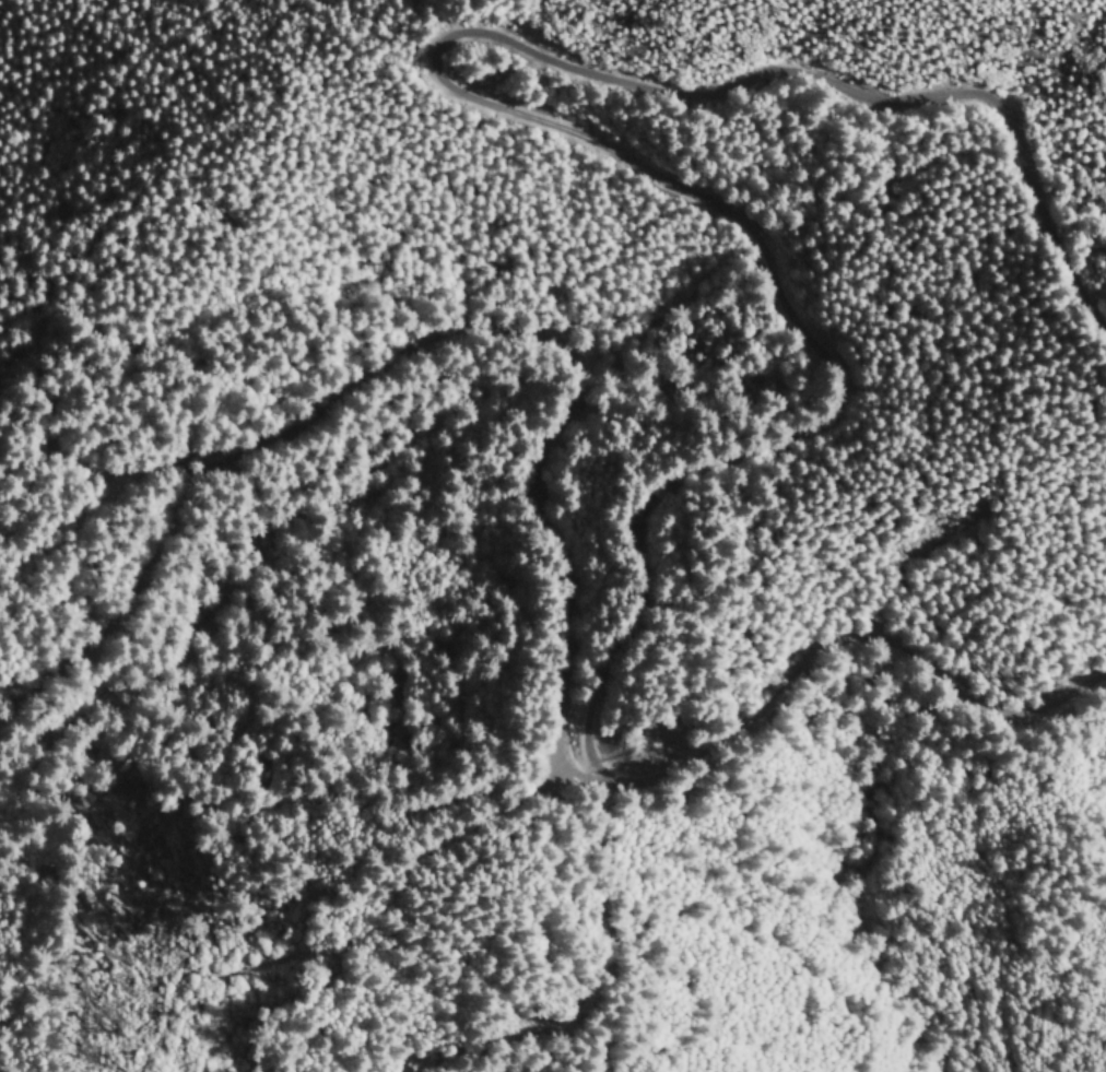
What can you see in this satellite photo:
road: (610, 351)

